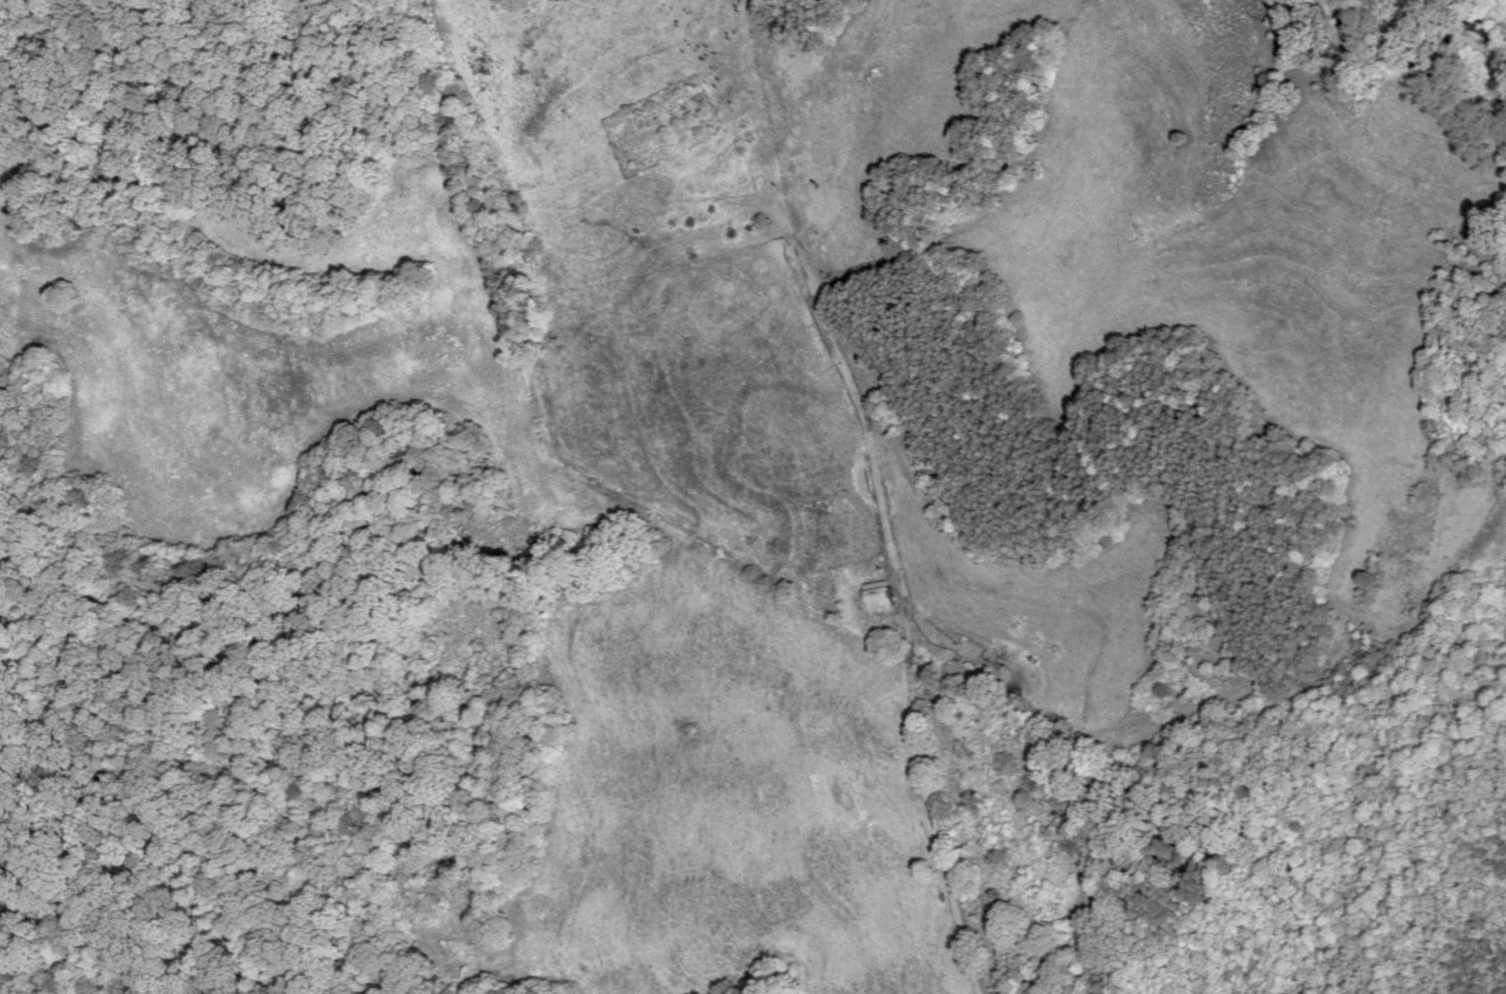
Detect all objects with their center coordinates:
building: (880, 596)

